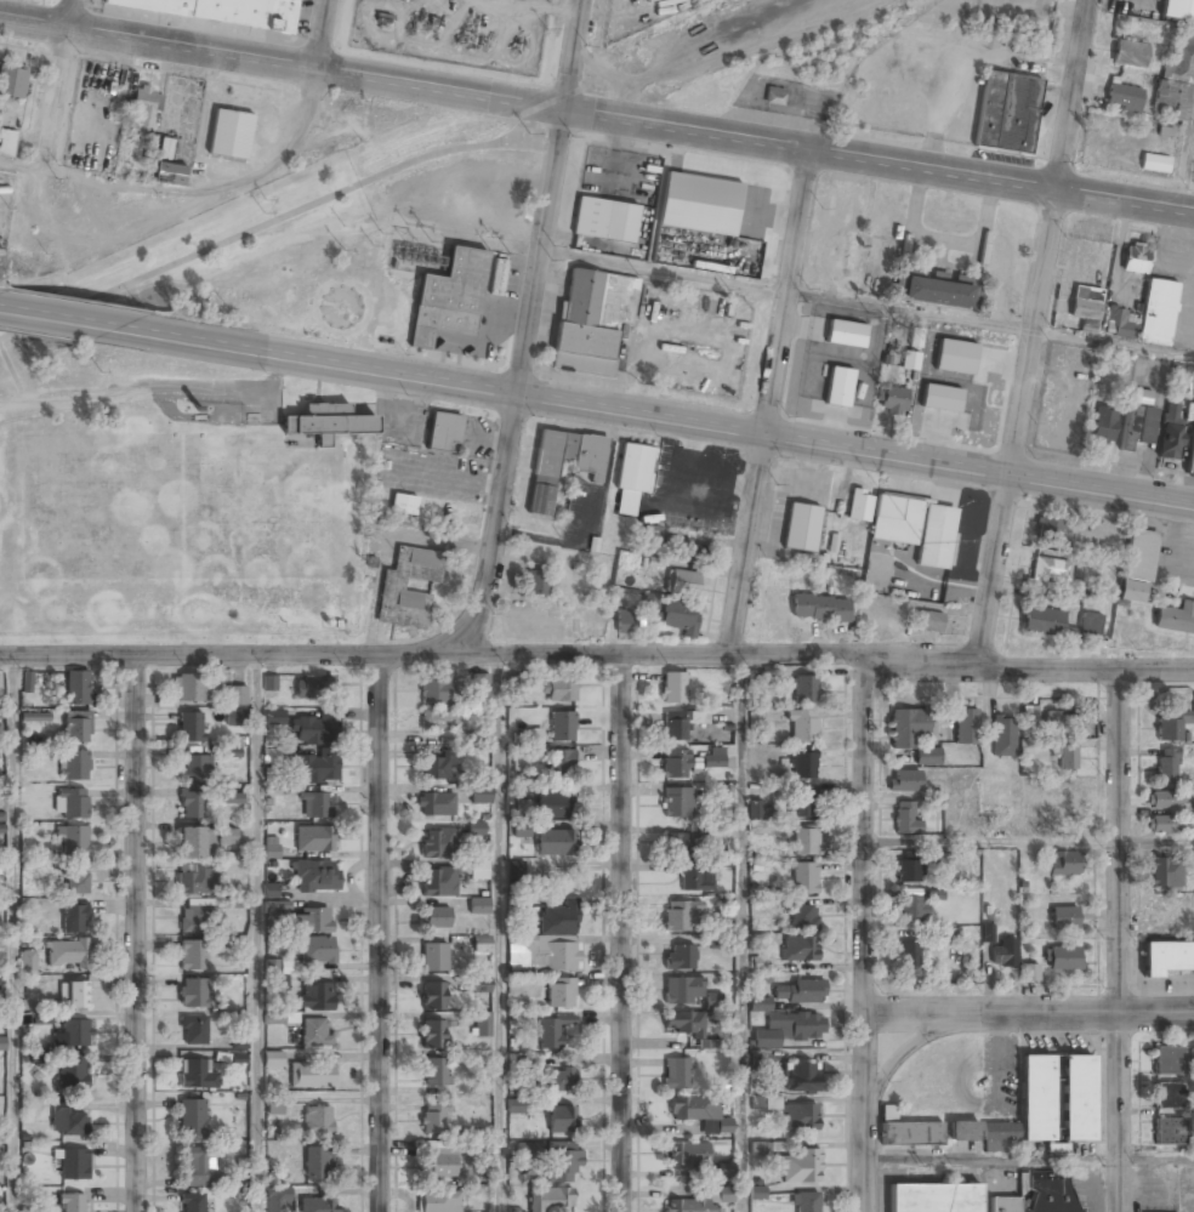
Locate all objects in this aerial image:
building: (1178, 10)
building: (221, 11)
road: (323, 34)
building: (1039, 47)
road: (570, 52)
building: (1130, 55)
road: (280, 63)
building: (1175, 80)
building: (12, 81)
road: (58, 86)
building: (774, 96)
building: (1124, 97)
building: (143, 107)
building: (1007, 113)
building: (229, 135)
building: (6, 141)
road: (877, 158)
building: (1154, 163)
building: (169, 173)
building: (700, 205)
road: (282, 220)
building: (604, 220)
park: (291, 229)
road: (540, 251)
building: (1135, 258)
building: (497, 275)
building: (936, 294)
building: (449, 298)
road: (866, 302)
building: (1084, 307)
building: (1158, 312)
road: (84, 320)
building: (1116, 320)
building: (592, 322)
road: (1033, 330)
building: (846, 334)
building: (962, 360)
building: (910, 362)
road: (343, 365)
building: (838, 387)
building: (940, 398)
road: (769, 400)
building: (894, 402)
building: (326, 422)
building: (1102, 425)
building: (1137, 425)
building: (444, 433)
building: (1170, 436)
road: (857, 449)
building: (1190, 454)
building: (562, 465)
building: (631, 477)
building: (404, 506)
building: (859, 507)
road: (493, 527)
building: (800, 528)
building: (1047, 528)
building: (919, 531)
building: (652, 537)
building: (678, 548)
building: (1139, 554)
building: (1048, 571)
building: (683, 577)
building: (536, 584)
building: (392, 587)
building: (1132, 591)
building: (649, 601)
building: (1097, 603)
building: (819, 609)
building: (678, 618)
building: (1177, 619)
building: (929, 621)
building: (625, 622)
building: (1058, 624)
road: (597, 655)
building: (27, 682)
building: (269, 683)
building: (481, 687)
building: (76, 688)
building: (189, 688)
building: (314, 688)
building: (672, 688)
building: (516, 689)
building: (804, 689)
building: (559, 690)
building: (436, 693)
building: (235, 696)
building: (35, 717)
building: (273, 717)
building: (234, 718)
building: (1029, 718)
building: (434, 722)
building: (680, 723)
building: (1064, 723)
building: (1171, 724)
building: (76, 726)
building: (802, 726)
building: (561, 727)
building: (191, 728)
building: (905, 728)
building: (966, 728)
building: (314, 729)
building: (535, 735)
building: (1002, 738)
building: (271, 756)
building: (713, 757)
building: (927, 757)
building: (1063, 758)
building: (521, 762)
building: (561, 763)
building: (675, 764)
building: (803, 764)
building: (74, 766)
building: (195, 769)
building: (434, 769)
building: (317, 770)
building: (1165, 770)
building: (903, 781)
building: (517, 791)
building: (481, 795)
building: (232, 798)
building: (1164, 801)
building: (677, 802)
building: (803, 802)
building: (70, 803)
building: (314, 804)
building: (191, 806)
building: (434, 806)
building: (553, 806)
building: (757, 812)
building: (1193, 813)
building: (905, 818)
building: (1, 821)
building: (1161, 824)
building: (476, 829)
building: (522, 830)
building: (226, 836)
building: (314, 838)
building: (73, 841)
road: (1030, 841)
building: (553, 842)
building: (804, 842)
building: (194, 843)
building: (437, 844)
building: (677, 844)
building: (271, 847)
building: (943, 858)
building: (1063, 864)
building: (513, 870)
building: (906, 870)
building: (478, 871)
building: (1164, 874)
building: (315, 876)
building: (695, 877)
building: (194, 878)
building: (803, 878)
building: (75, 882)
building: (438, 882)
building: (271, 889)
building: (278, 906)
building: (478, 907)
building: (911, 907)
building: (678, 916)
building: (74, 917)
building: (802, 917)
building: (1064, 917)
building: (434, 918)
building: (559, 918)
building: (197, 920)
building: (312, 921)
road: (621, 933)
road: (741, 933)
road: (136, 934)
road: (255, 934)
road: (377, 934)
road: (497, 934)
road: (866, 934)
road: (13, 935)
building: (716, 940)
building: (481, 943)
road: (1122, 944)
building: (798, 949)
building: (317, 951)
building: (1003, 951)
building: (66, 954)
building: (544, 955)
building: (193, 956)
building: (908, 956)
building: (434, 957)
building: (680, 957)
building: (1062, 958)
building: (1167, 958)
building: (27, 962)
building: (1029, 973)
building: (278, 974)
building: (683, 990)
building: (193, 992)
building: (798, 992)
building: (559, 994)
building: (76, 995)
building: (315, 997)
building: (433, 997)
building: (715, 1001)
building: (760, 1005)
road: (1030, 1012)
building: (273, 1019)
building: (683, 1024)
building: (482, 1025)
building: (795, 1026)
building: (193, 1030)
building: (552, 1031)
building: (314, 1034)
building: (72, 1035)
building: (432, 1036)
building: (239, 1042)
building: (2, 1043)
building: (273, 1059)
building: (1169, 1059)
building: (74, 1071)
building: (434, 1072)
building: (195, 1074)
building: (311, 1075)
building: (676, 1075)
building: (801, 1077)
building: (558, 1081)
building: (1170, 1096)
building: (1076, 1098)
building: (766, 1103)
building: (275, 1105)
building: (514, 1105)
building: (1027, 1106)
building: (698, 1113)
building: (888, 1113)
building: (193, 1116)
building: (800, 1116)
building: (433, 1119)
building: (317, 1120)
building: (69, 1121)
building: (561, 1121)
building: (963, 1132)
building: (1169, 1132)
building: (911, 1134)
building: (761, 1149)
building: (528, 1150)
building: (687, 1155)
road: (1029, 1159)
building: (317, 1163)
building: (561, 1163)
building: (74, 1165)
building: (438, 1166)
building: (800, 1166)
building: (197, 1167)
building: (724, 1171)
building: (235, 1177)
building: (1048, 1191)
building: (933, 1197)
building: (278, 1199)
building: (550, 1200)
building: (806, 1201)
building: (73, 1202)
building: (193, 1202)
building: (438, 1202)
building: (317, 1205)
building: (1003, 1205)
building: (694, 1206)
building: (35, 1210)
building: (513, 1210)

